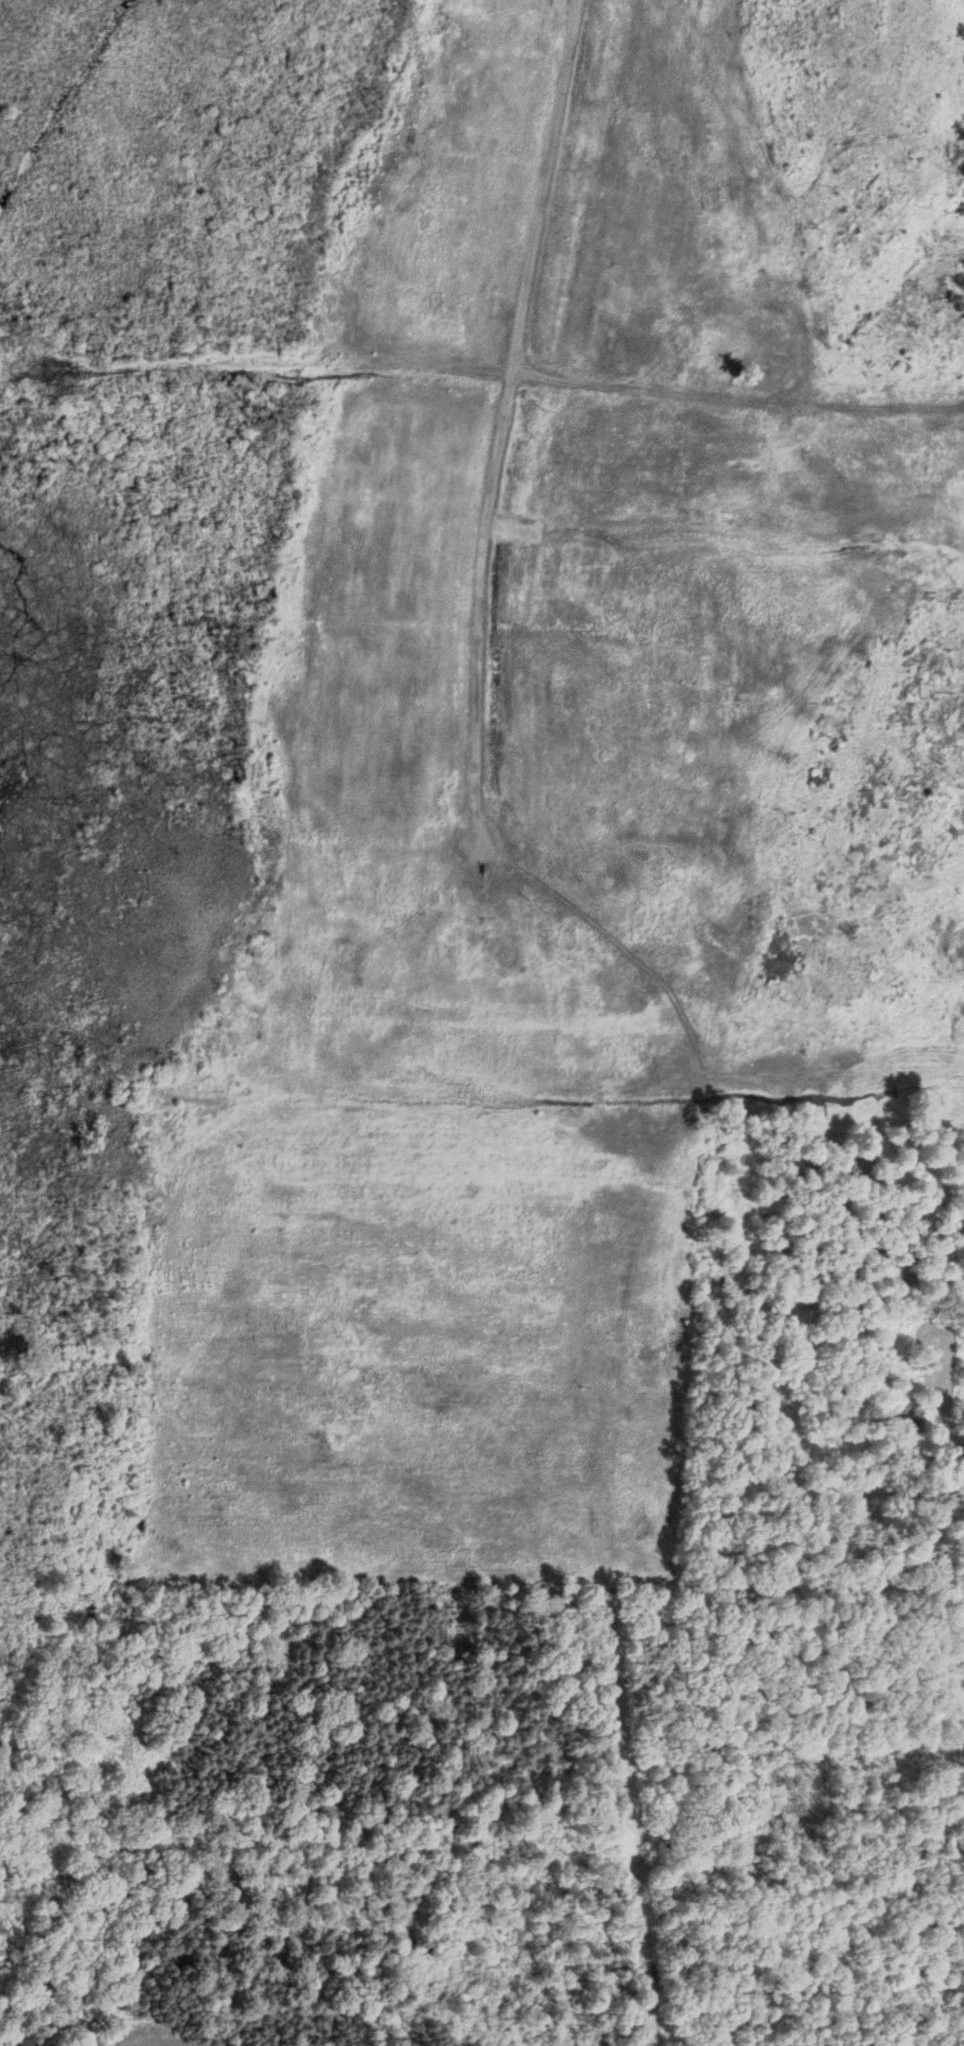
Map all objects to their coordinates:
road: (502, 427)
road: (828, 1605)

